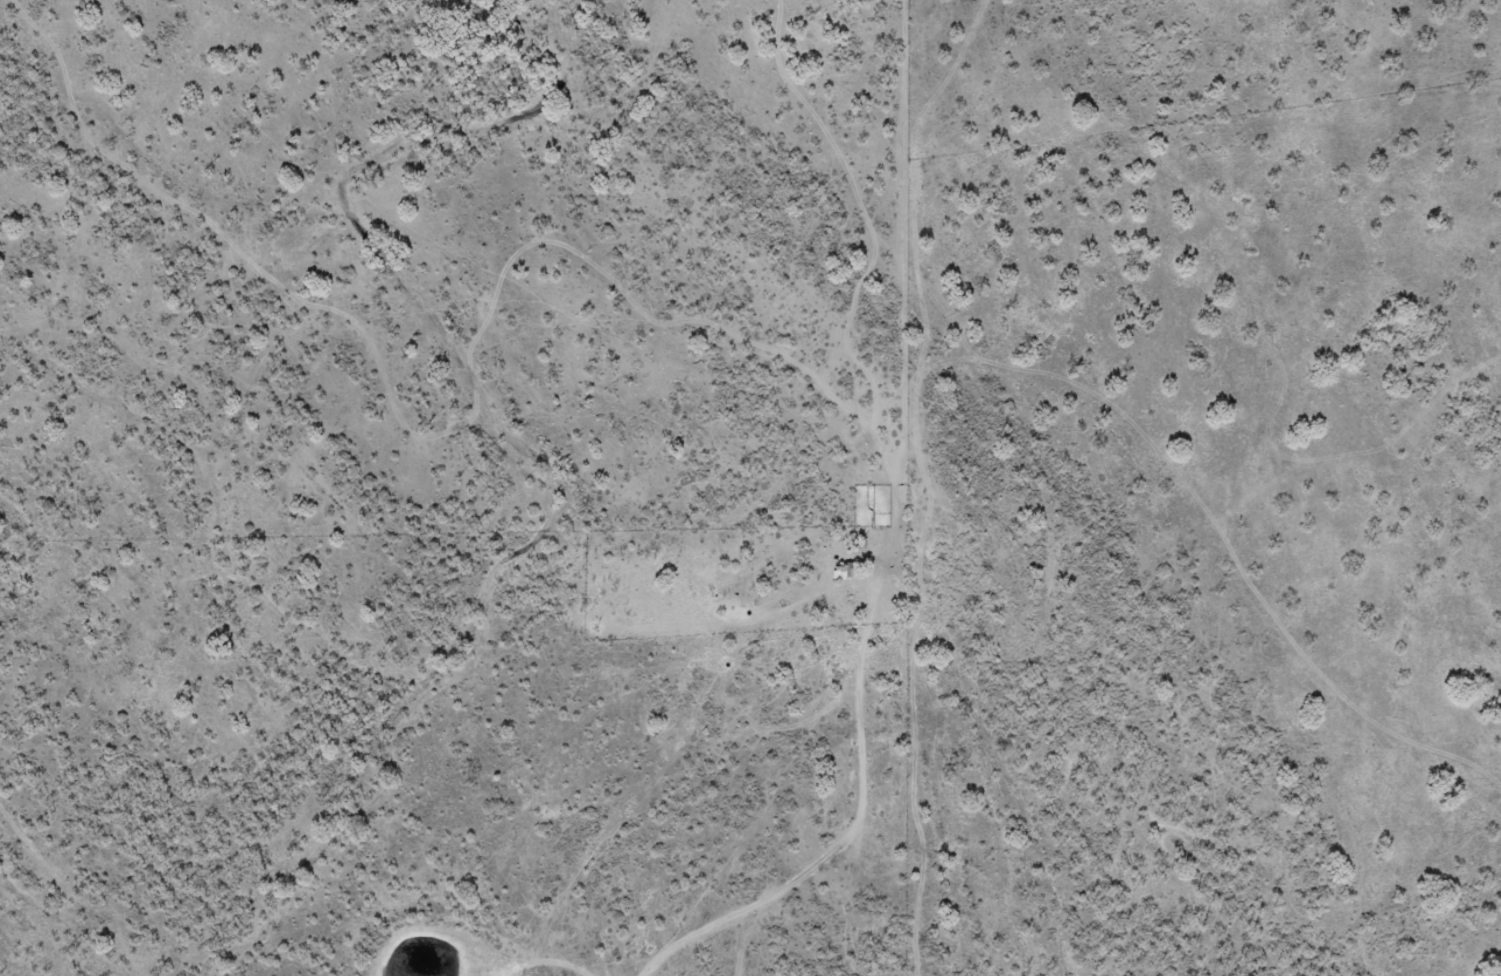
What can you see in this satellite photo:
road: (894, 517)

